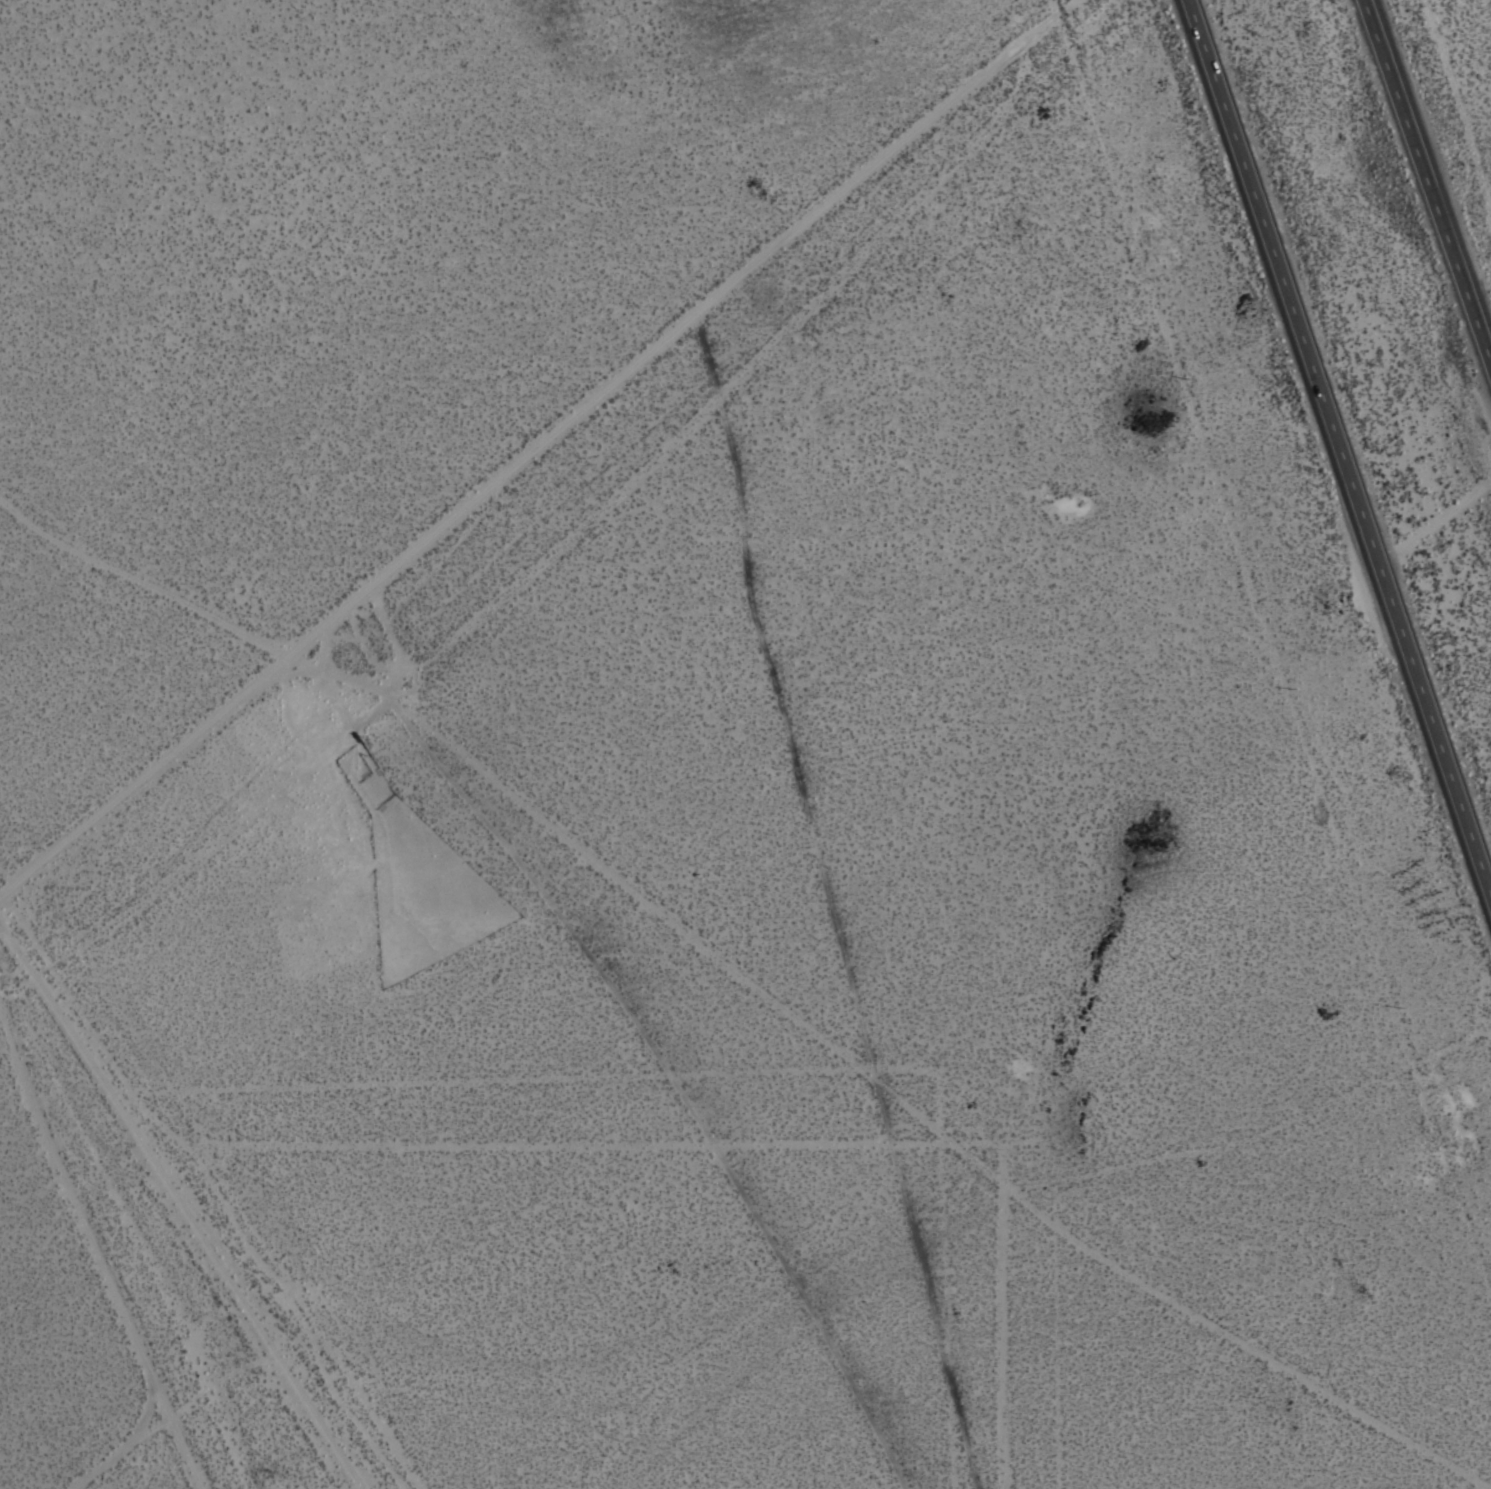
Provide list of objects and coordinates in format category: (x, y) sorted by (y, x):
road: (1429, 166)
road: (1343, 442)
road: (538, 451)
road: (756, 982)
road: (100, 1233)
road: (130, 1442)

